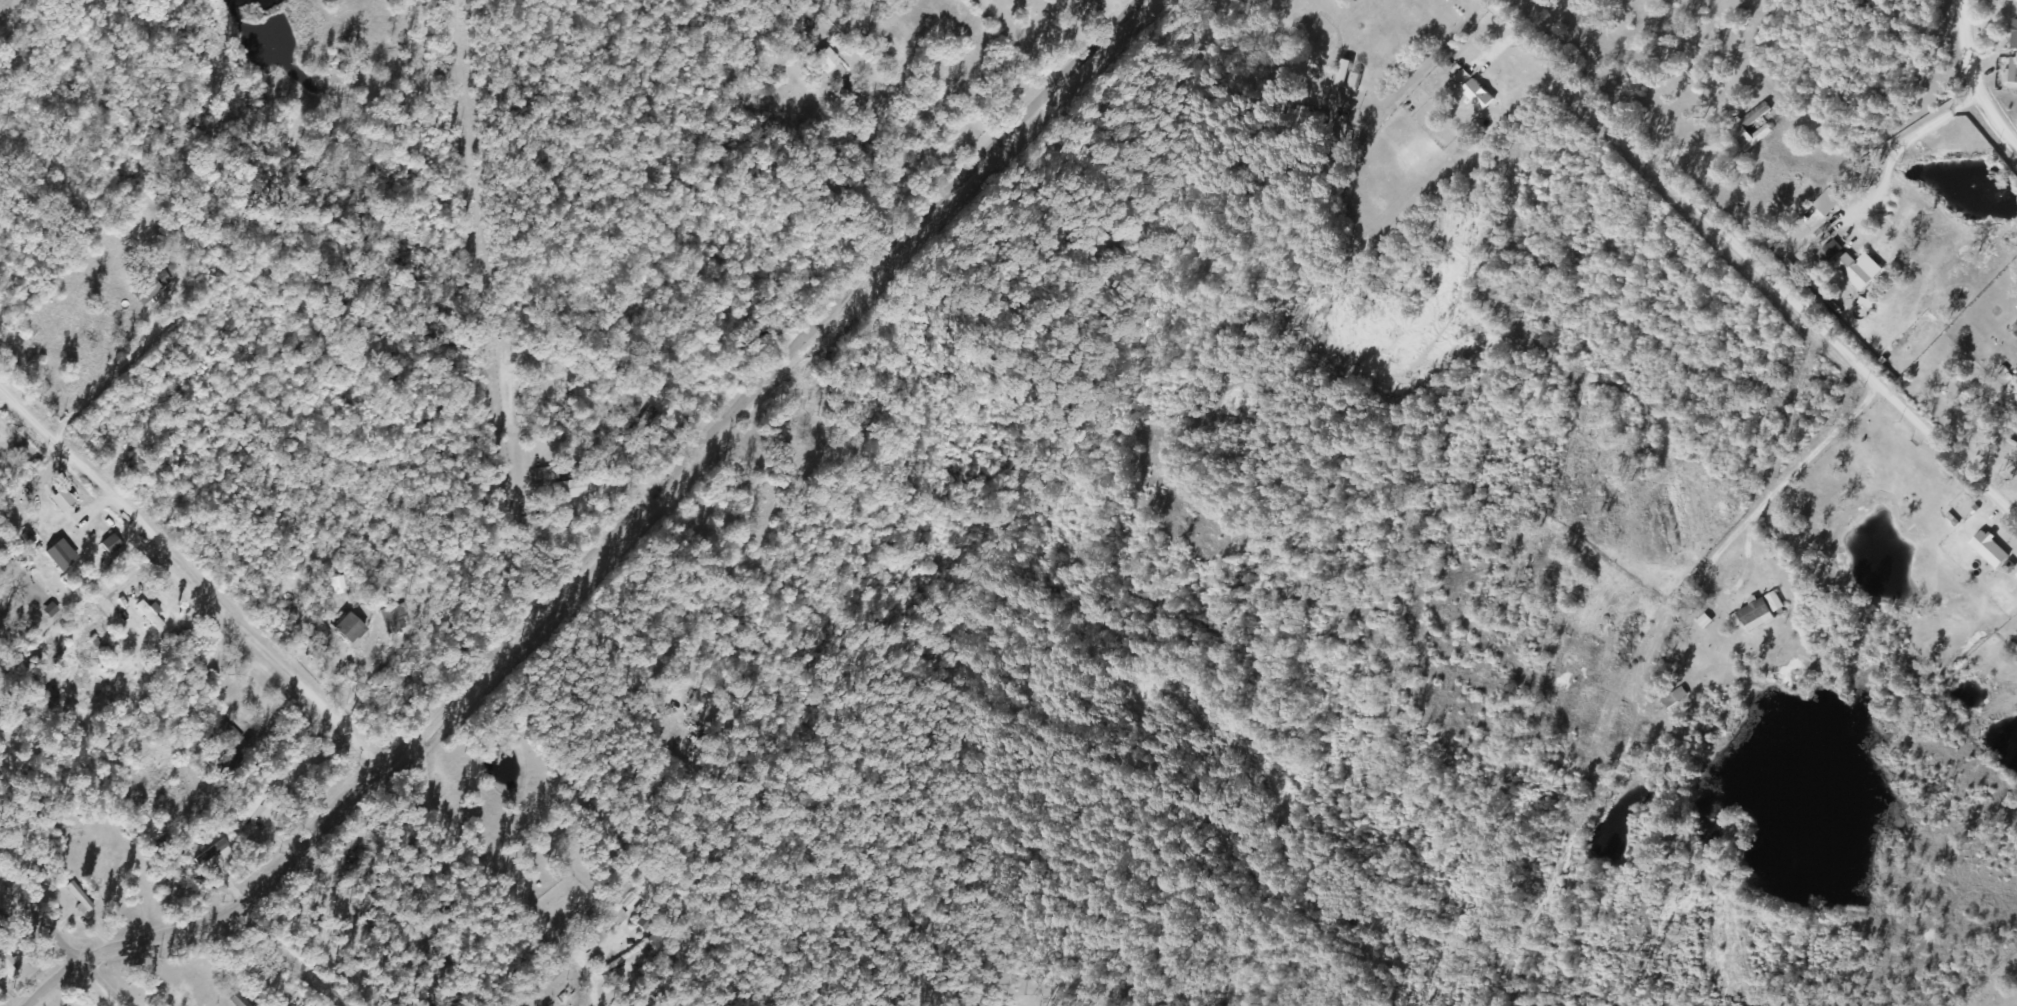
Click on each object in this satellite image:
building: (1220, 7)
building: (2012, 36)
building: (825, 67)
building: (2011, 71)
road: (1414, 72)
building: (1344, 77)
road: (1967, 80)
road: (887, 84)
building: (1475, 94)
building: (1828, 252)
road: (1756, 257)
building: (1851, 272)
building: (151, 287)
building: (2016, 302)
road: (495, 316)
building: (644, 419)
building: (775, 437)
building: (545, 475)
building: (569, 489)
road: (1750, 514)
road: (623, 540)
building: (1987, 550)
building: (61, 556)
road: (193, 575)
building: (338, 585)
building: (148, 615)
building: (1750, 616)
building: (395, 621)
building: (353, 628)
building: (702, 690)
building: (1673, 698)
building: (210, 726)
building: (227, 761)
building: (78, 897)
road: (44, 922)
building: (2, 923)
building: (604, 923)
building: (660, 939)

